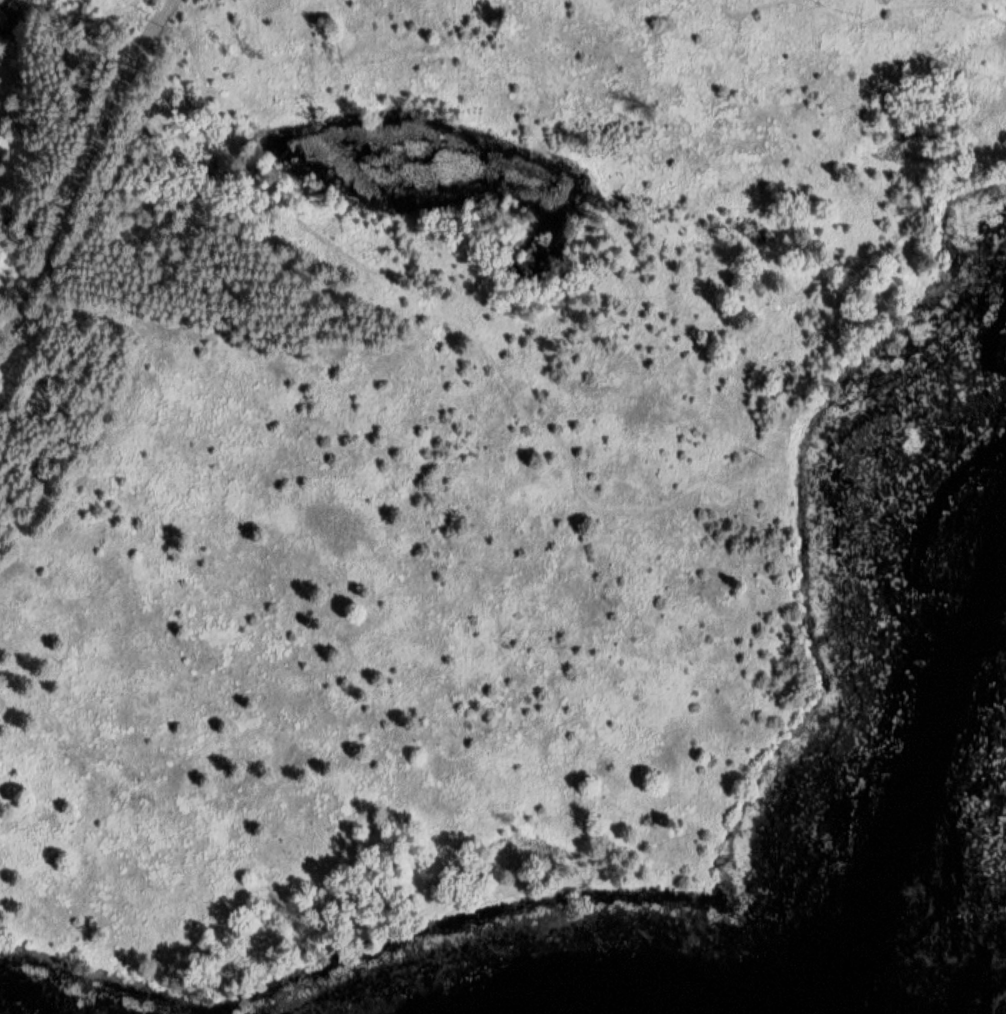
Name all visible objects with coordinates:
road: (89, 164)

